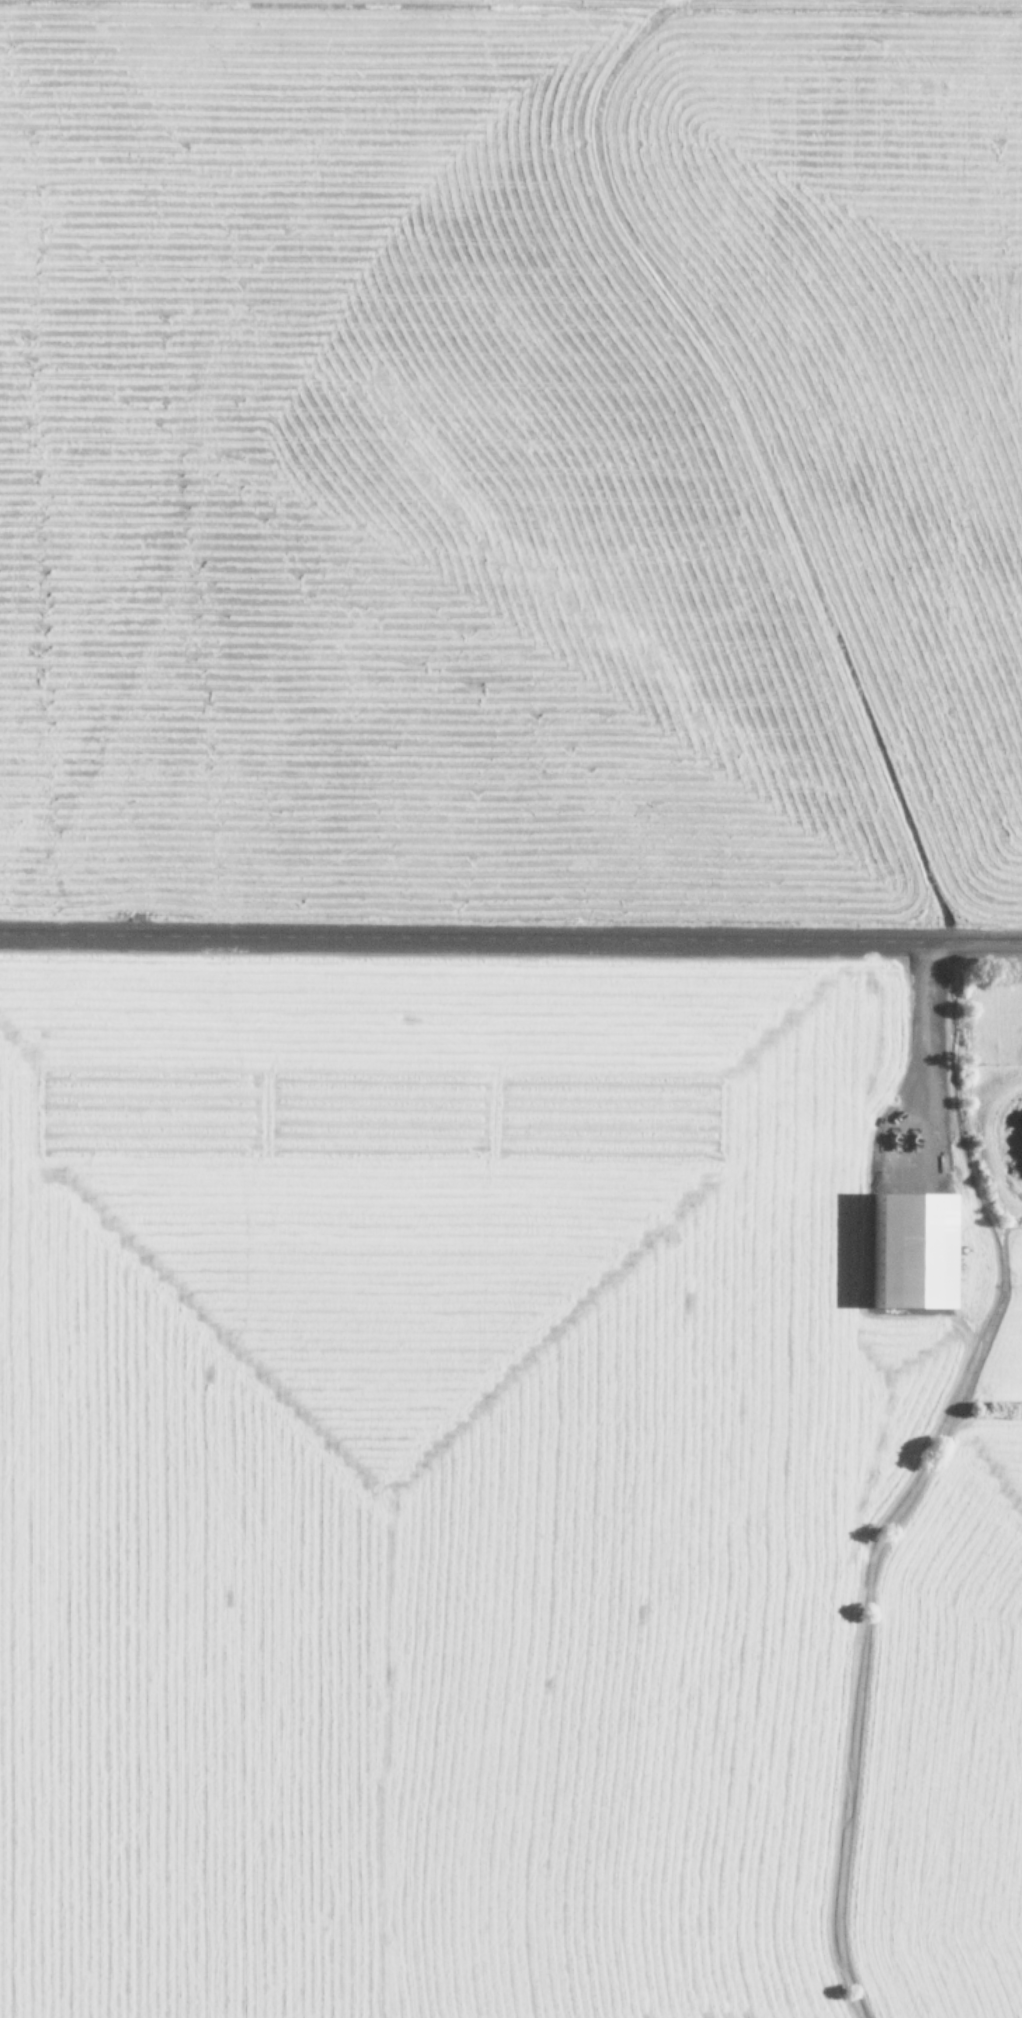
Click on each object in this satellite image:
crop: (511, 457)
road: (511, 940)
crop: (509, 1488)

